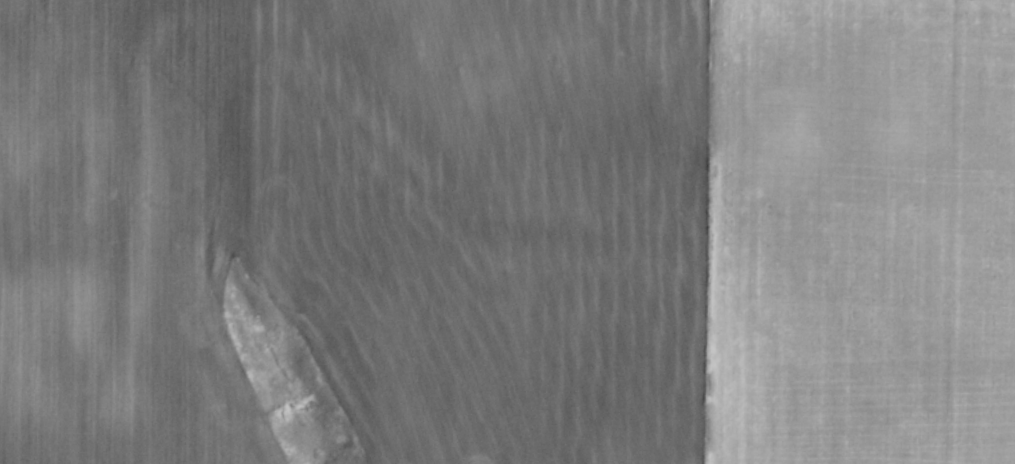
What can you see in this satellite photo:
crop: (516, 226)

